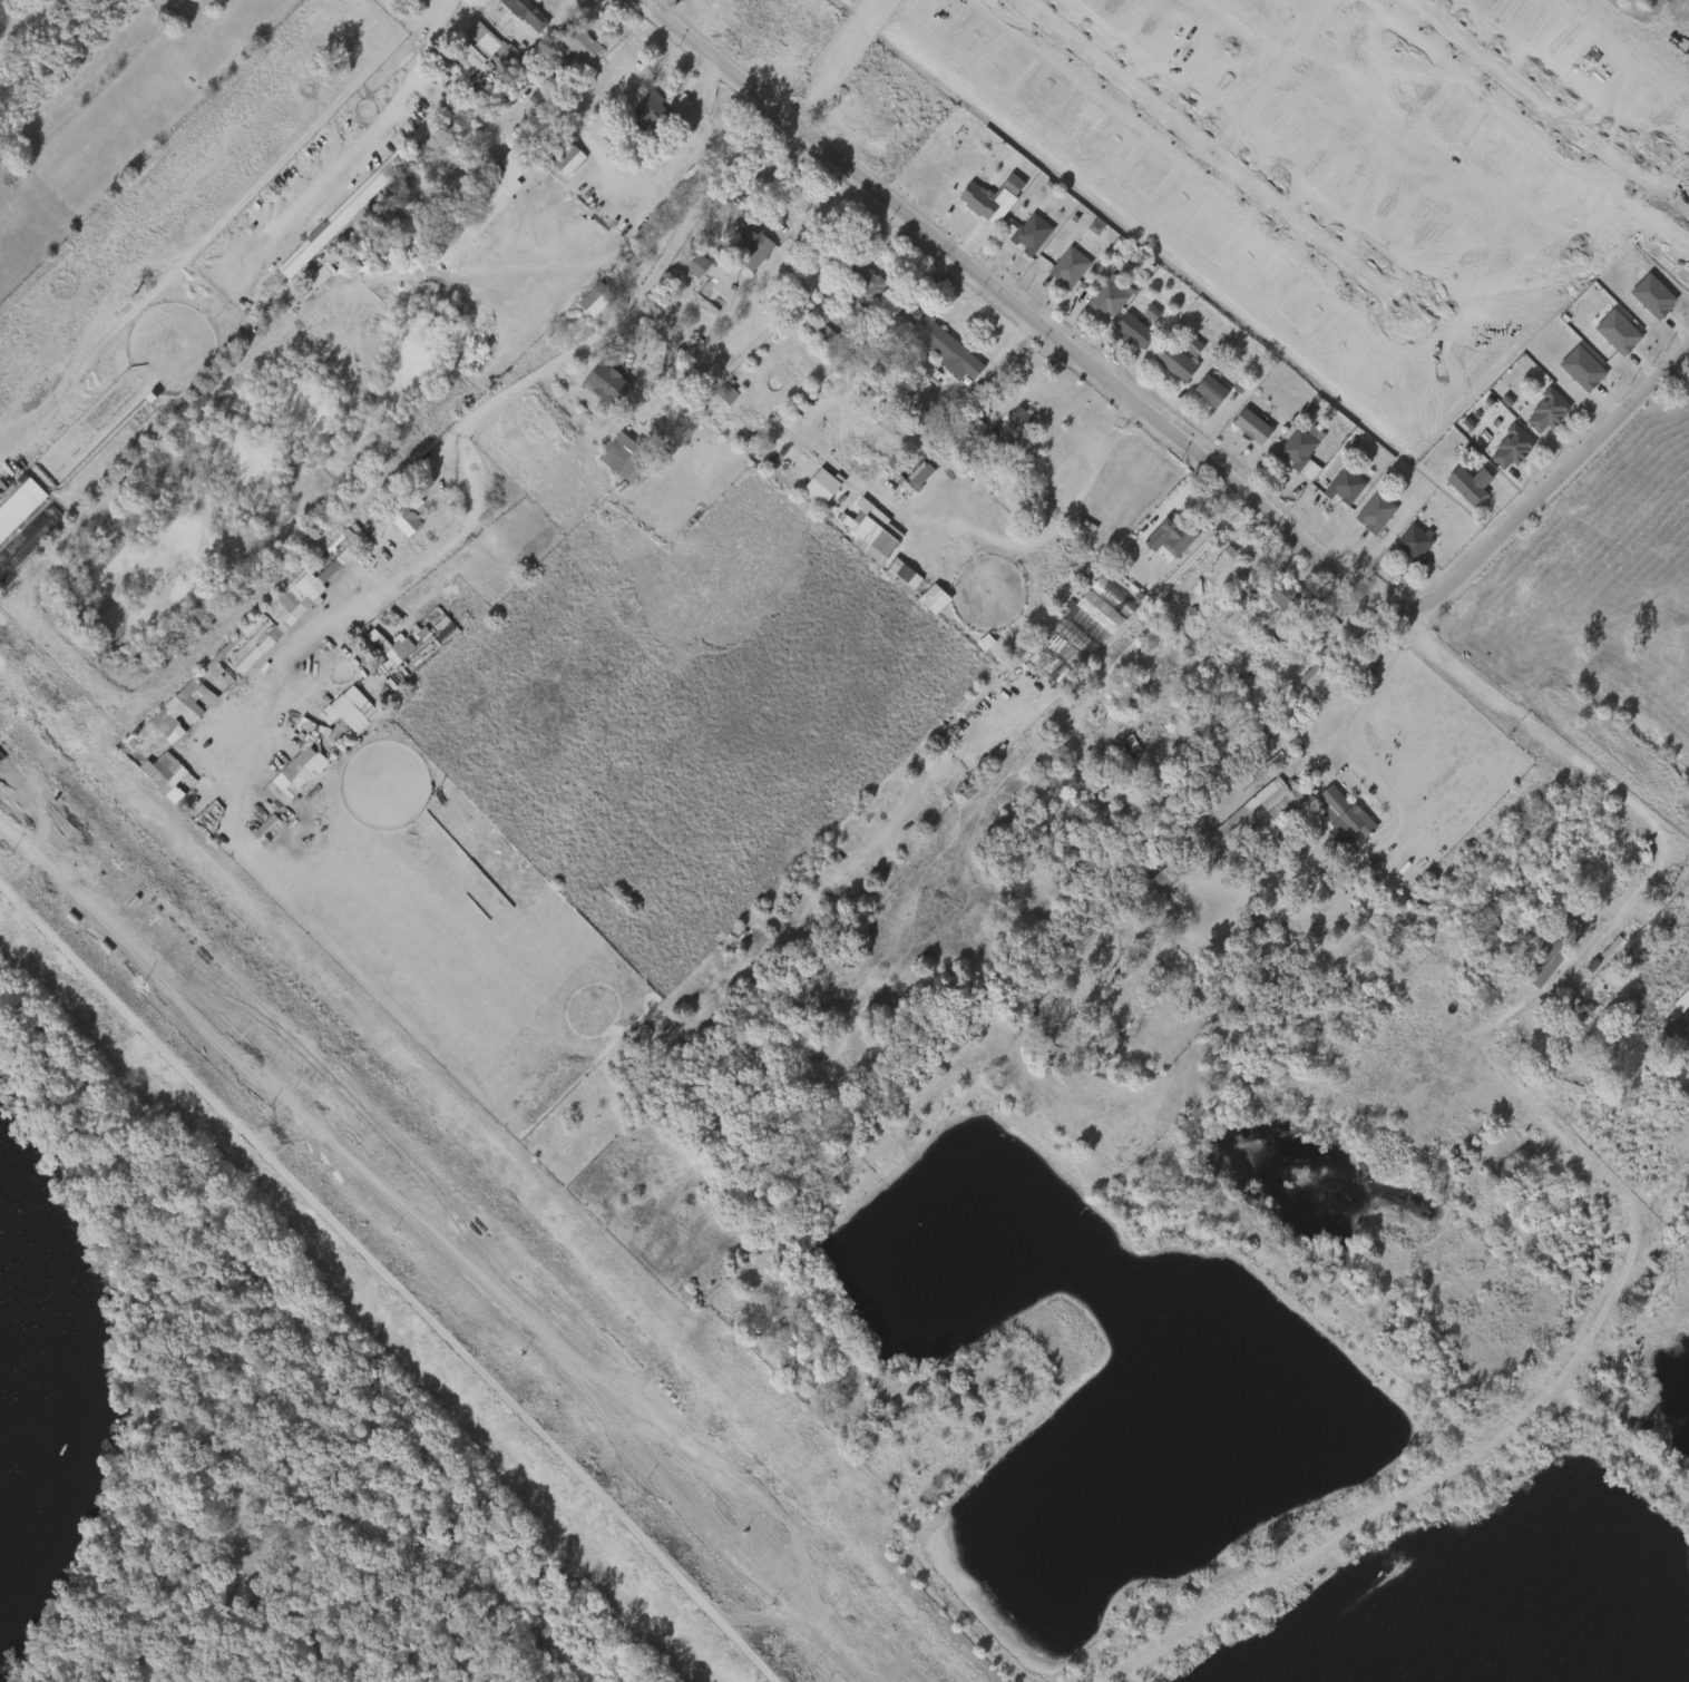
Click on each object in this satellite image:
building: (528, 12)
building: (515, 16)
building: (487, 47)
building: (589, 60)
building: (462, 63)
building: (671, 106)
road: (381, 109)
building: (652, 111)
building: (567, 157)
building: (982, 201)
building: (349, 213)
road: (227, 222)
building: (1029, 232)
building: (746, 244)
building: (699, 265)
building: (1070, 266)
building: (687, 267)
building: (869, 286)
building: (593, 299)
building: (1106, 299)
building: (1642, 299)
building: (1141, 315)
building: (1133, 330)
building: (917, 332)
building: (1607, 335)
building: (1183, 349)
road: (554, 362)
building: (1174, 362)
building: (963, 363)
building: (1571, 371)
building: (606, 380)
building: (1210, 390)
building: (1200, 393)
building: (1548, 411)
building: (1251, 424)
building: (1008, 431)
road: (1179, 432)
building: (657, 433)
building: (1299, 447)
building: (1512, 447)
building: (623, 457)
building: (909, 478)
building: (1468, 485)
building: (1344, 486)
building: (14, 503)
building: (1375, 512)
building: (407, 518)
building: (868, 535)
building: (1177, 542)
building: (1414, 544)
building: (302, 588)
building: (1286, 597)
building: (1103, 598)
building: (1088, 615)
building: (382, 648)
building: (214, 672)
road: (1462, 675)
building: (329, 715)
road: (1346, 735)
road: (1581, 765)
building: (1260, 767)
building: (1257, 815)
building: (1346, 816)
building: (1155, 877)
road: (1644, 884)
building: (1545, 941)
building: (743, 943)
building: (1554, 961)
road: (391, 1278)

